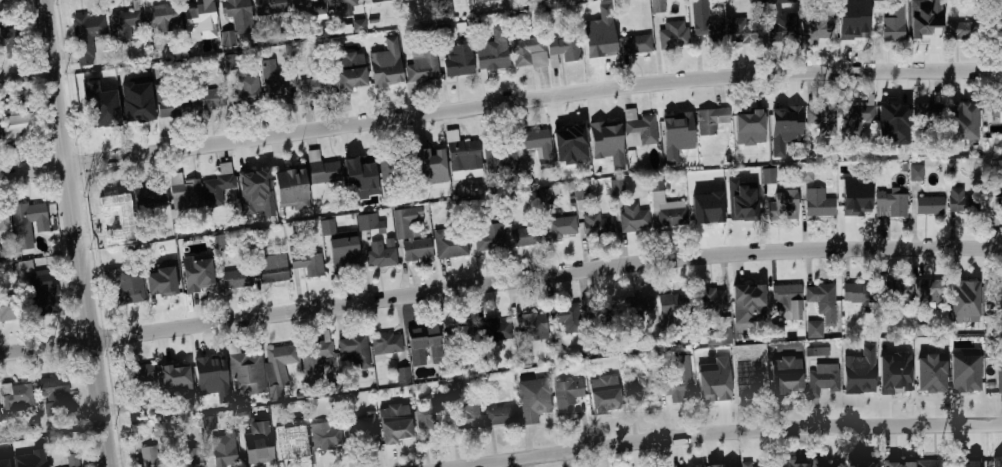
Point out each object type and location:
building: (377, 0)
building: (483, 0)
building: (532, 1)
building: (776, 2)
building: (340, 3)
building: (656, 6)
building: (268, 7)
building: (308, 7)
building: (445, 8)
building: (201, 16)
building: (159, 17)
building: (235, 18)
building: (925, 24)
building: (123, 25)
building: (358, 25)
building: (783, 27)
building: (813, 27)
building: (892, 28)
building: (852, 29)
building: (959, 30)
building: (86, 31)
building: (707, 33)
building: (744, 33)
building: (673, 35)
building: (11, 43)
building: (635, 45)
building: (597, 46)
building: (565, 49)
building: (493, 50)
building: (528, 53)
building: (458, 61)
building: (229, 63)
building: (422, 64)
building: (386, 77)
building: (351, 79)
building: (277, 84)
building: (314, 87)
building: (247, 89)
building: (205, 101)
road: (499, 103)
building: (102, 105)
building: (166, 106)
building: (996, 109)
building: (137, 111)
building: (930, 113)
building: (960, 116)
building: (783, 117)
building: (854, 118)
building: (892, 118)
building: (747, 119)
building: (709, 121)
building: (820, 121)
building: (19, 126)
building: (674, 126)
building: (638, 129)
building: (606, 133)
building: (568, 136)
building: (537, 142)
building: (463, 154)
building: (494, 155)
building: (428, 156)
building: (396, 158)
building: (356, 169)
building: (324, 172)
building: (806, 173)
building: (916, 173)
building: (288, 175)
building: (767, 175)
building: (181, 183)
building: (217, 186)
building: (616, 187)
building: (255, 188)
building: (545, 196)
building: (150, 198)
building: (960, 200)
building: (509, 201)
building: (855, 201)
building: (744, 202)
building: (114, 203)
building: (818, 203)
building: (891, 203)
building: (301, 205)
building: (929, 205)
building: (665, 206)
building: (780, 207)
building: (706, 209)
building: (2, 217)
building: (25, 217)
building: (633, 218)
building: (363, 222)
building: (595, 226)
building: (327, 228)
building: (562, 232)
road: (79, 233)
building: (116, 235)
building: (410, 237)
building: (523, 237)
building: (488, 238)
building: (220, 242)
building: (450, 243)
building: (344, 255)
building: (379, 255)
building: (305, 261)
building: (26, 268)
building: (272, 269)
building: (197, 274)
building: (236, 278)
road: (499, 282)
building: (1001, 282)
building: (122, 285)
building: (163, 287)
building: (893, 289)
building: (926, 289)
building: (40, 294)
building: (853, 294)
building: (822, 297)
building: (963, 297)
building: (783, 298)
building: (709, 300)
building: (747, 302)
building: (6, 306)
building: (671, 308)
building: (636, 309)
building: (598, 315)
building: (566, 316)
building: (531, 327)
building: (815, 329)
building: (491, 330)
building: (721, 333)
building: (460, 335)
building: (420, 342)
building: (385, 343)
building: (355, 350)
building: (818, 351)
building: (526, 357)
building: (314, 358)
building: (786, 363)
building: (211, 368)
building: (277, 369)
building: (246, 372)
building: (172, 373)
building: (403, 375)
building: (786, 377)
building: (140, 378)
building: (858, 378)
building: (999, 378)
building: (678, 379)
building: (822, 379)
building: (962, 379)
building: (927, 381)
building: (895, 383)
building: (710, 384)
building: (750, 386)
building: (55, 388)
building: (455, 388)
building: (637, 389)
building: (604, 393)
building: (16, 395)
building: (566, 395)
building: (533, 398)
building: (394, 410)
building: (469, 412)
building: (502, 415)
building: (428, 421)
building: (0, 423)
building: (393, 426)
building: (363, 429)
road: (727, 430)
building: (324, 436)
building: (287, 438)
building: (223, 449)
building: (254, 451)
building: (148, 457)
building: (190, 458)
building: (32, 459)
building: (72, 460)
building: (966, 461)
building: (4, 462)
building: (868, 462)
building: (997, 462)
building: (793, 463)
building: (930, 463)
building: (747, 464)
building: (895, 464)
building: (714, 465)
building: (822, 465)
building: (756, 466)
building: (772, 466)

